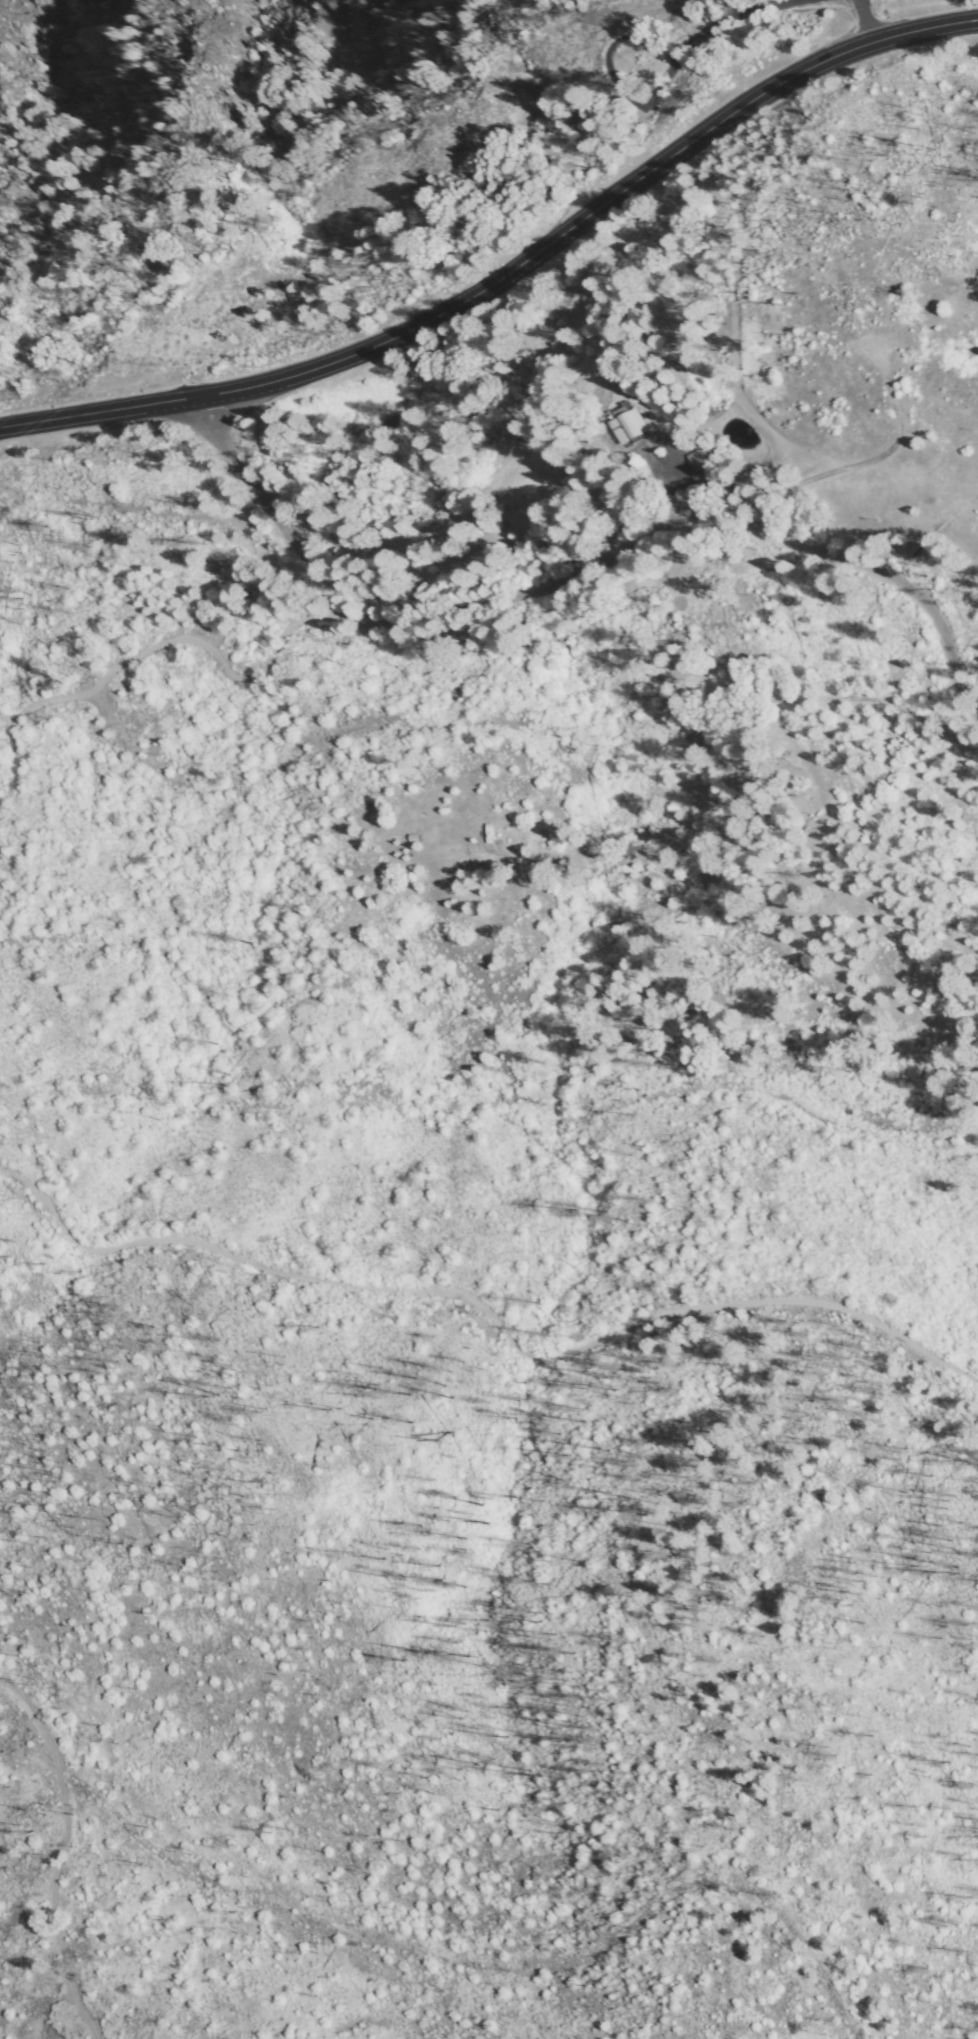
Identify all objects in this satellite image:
power tower: (603, 18)
road: (846, 27)
road: (508, 278)
road: (528, 412)
road: (740, 418)
building: (630, 425)
building: (611, 427)
building: (697, 468)
building: (721, 468)
road: (249, 483)
road: (688, 550)
building: (465, 833)
building: (415, 839)
road: (488, 1307)

